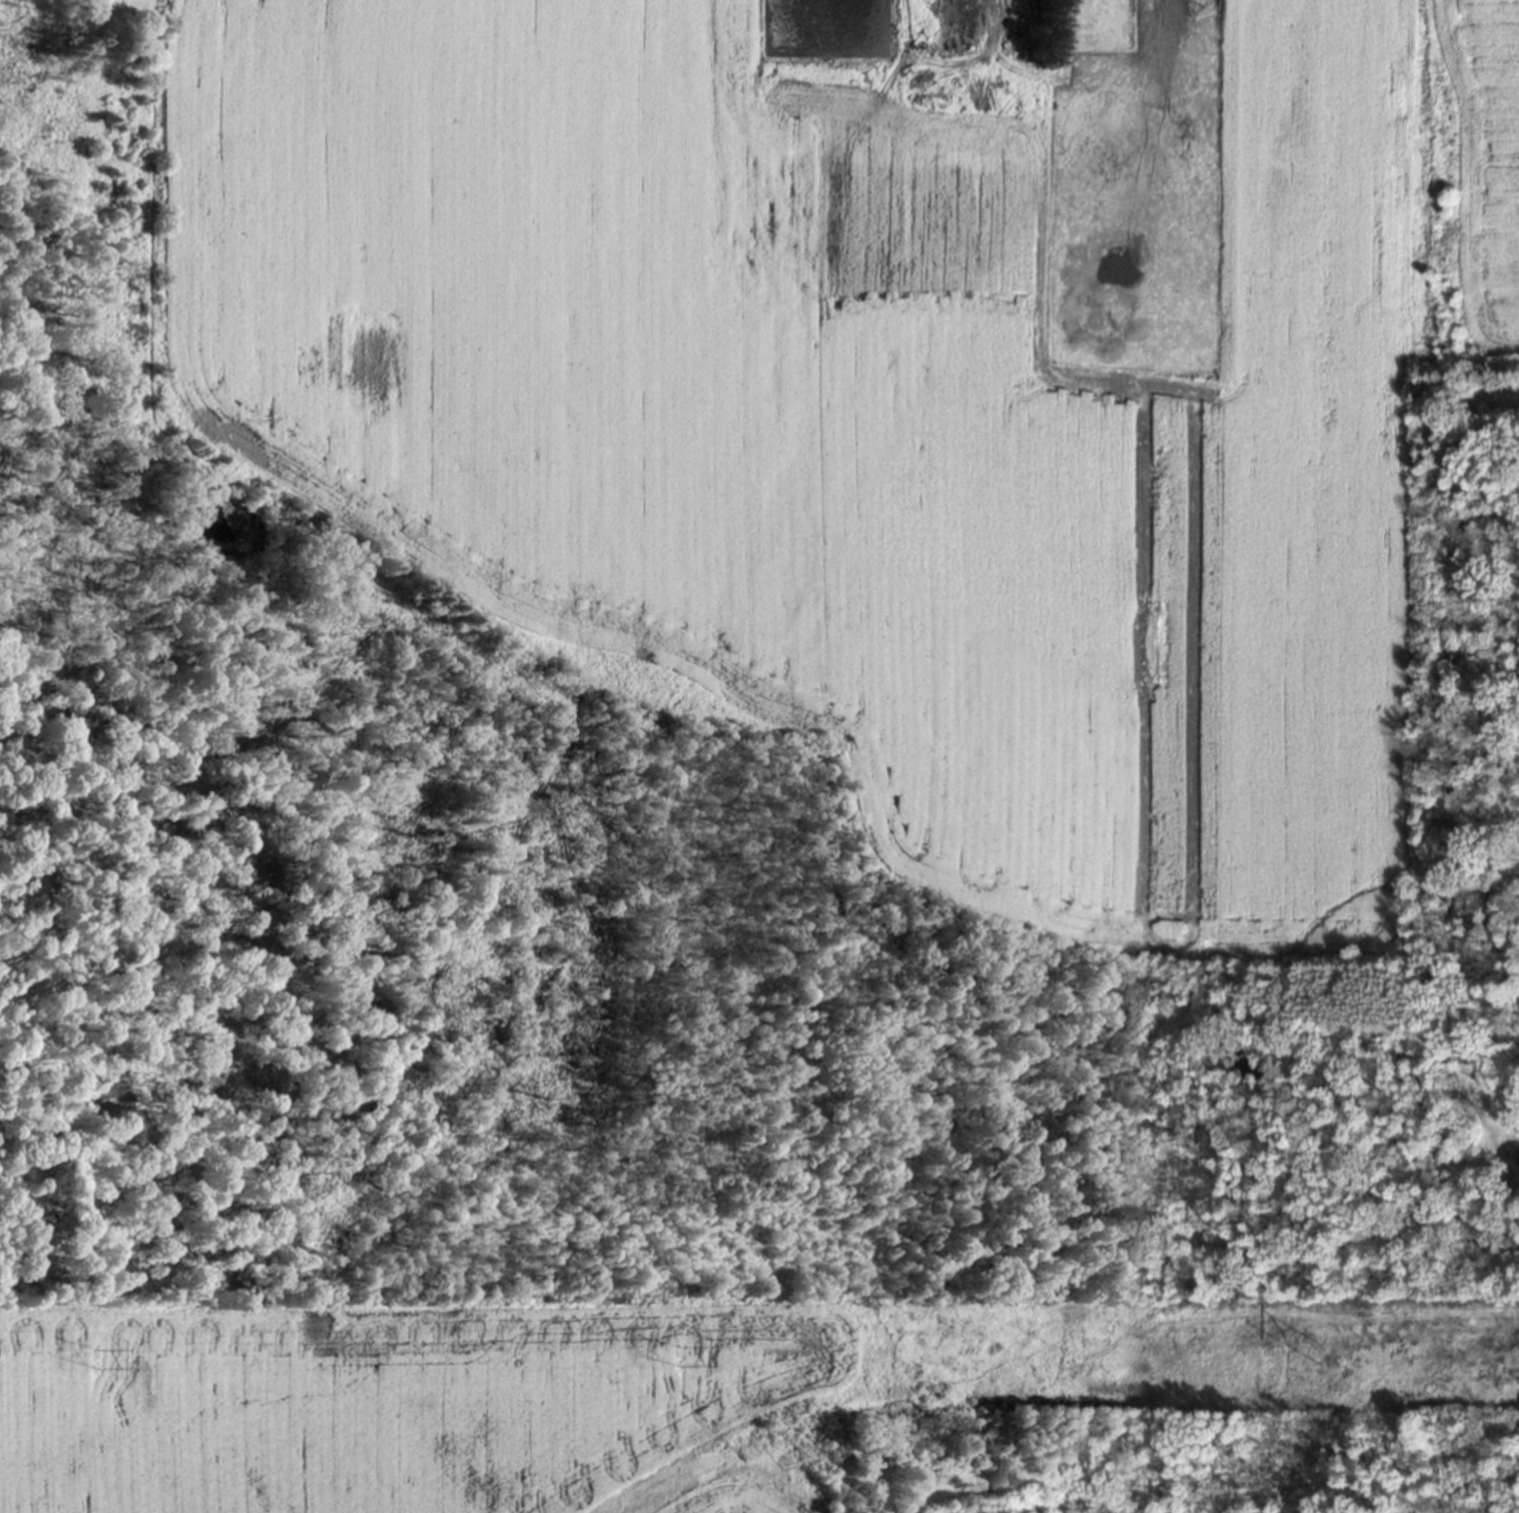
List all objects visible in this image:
power tower: (1319, 1350)
power tower: (679, 1354)
power tower: (101, 1359)

